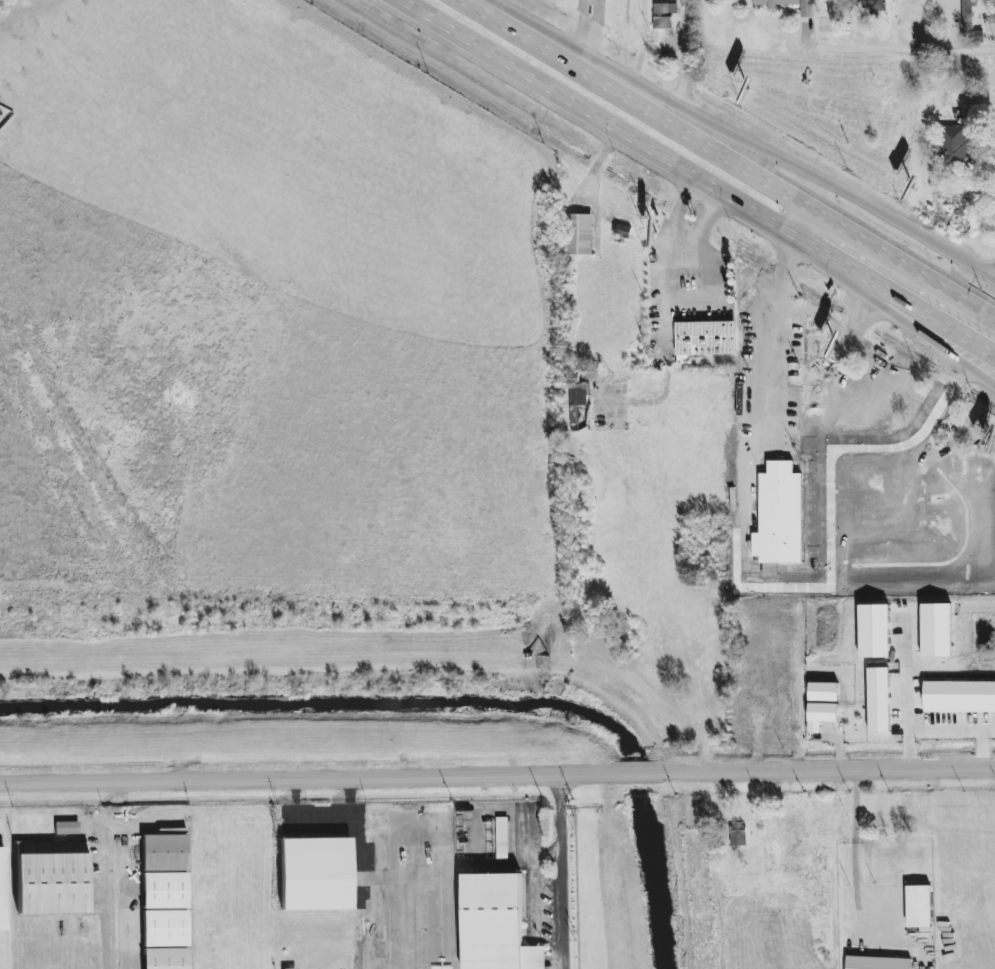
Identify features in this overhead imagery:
building: (790, 5)
building: (875, 5)
building: (663, 16)
road: (585, 33)
road: (899, 46)
road: (677, 54)
road: (638, 106)
road: (600, 119)
road: (713, 125)
building: (957, 144)
road: (594, 168)
road: (707, 189)
road: (678, 211)
road: (707, 225)
road: (805, 226)
building: (622, 231)
building: (579, 235)
road: (825, 255)
road: (977, 266)
road: (903, 267)
road: (682, 272)
road: (924, 314)
road: (924, 325)
road: (782, 337)
building: (783, 392)
building: (579, 394)
building: (580, 418)
building: (786, 429)
building: (779, 515)
building: (874, 631)
building: (823, 692)
road: (907, 695)
building: (879, 700)
building: (821, 716)
road: (960, 732)
road: (822, 770)
road: (632, 773)
road: (307, 778)
building: (67, 828)
building: (172, 831)
building: (738, 834)
building: (502, 838)
airport hangar: (164, 852)
building: (164, 852)
road: (561, 872)
airport hangar: (315, 874)
building: (315, 874)
airport hangar: (52, 877)
building: (52, 877)
airport: (310, 887)
airport hangar: (164, 890)
building: (164, 890)
airport apron: (404, 890)
airport hangar: (3, 892)
building: (3, 892)
airport apron: (116, 899)
building: (919, 907)
airport hangar: (496, 924)
building: (496, 924)
airport hangar: (165, 928)
building: (165, 928)
airport apron: (3, 950)
airport hangar: (165, 958)
building: (165, 958)
building: (877, 963)
building: (292, 968)

